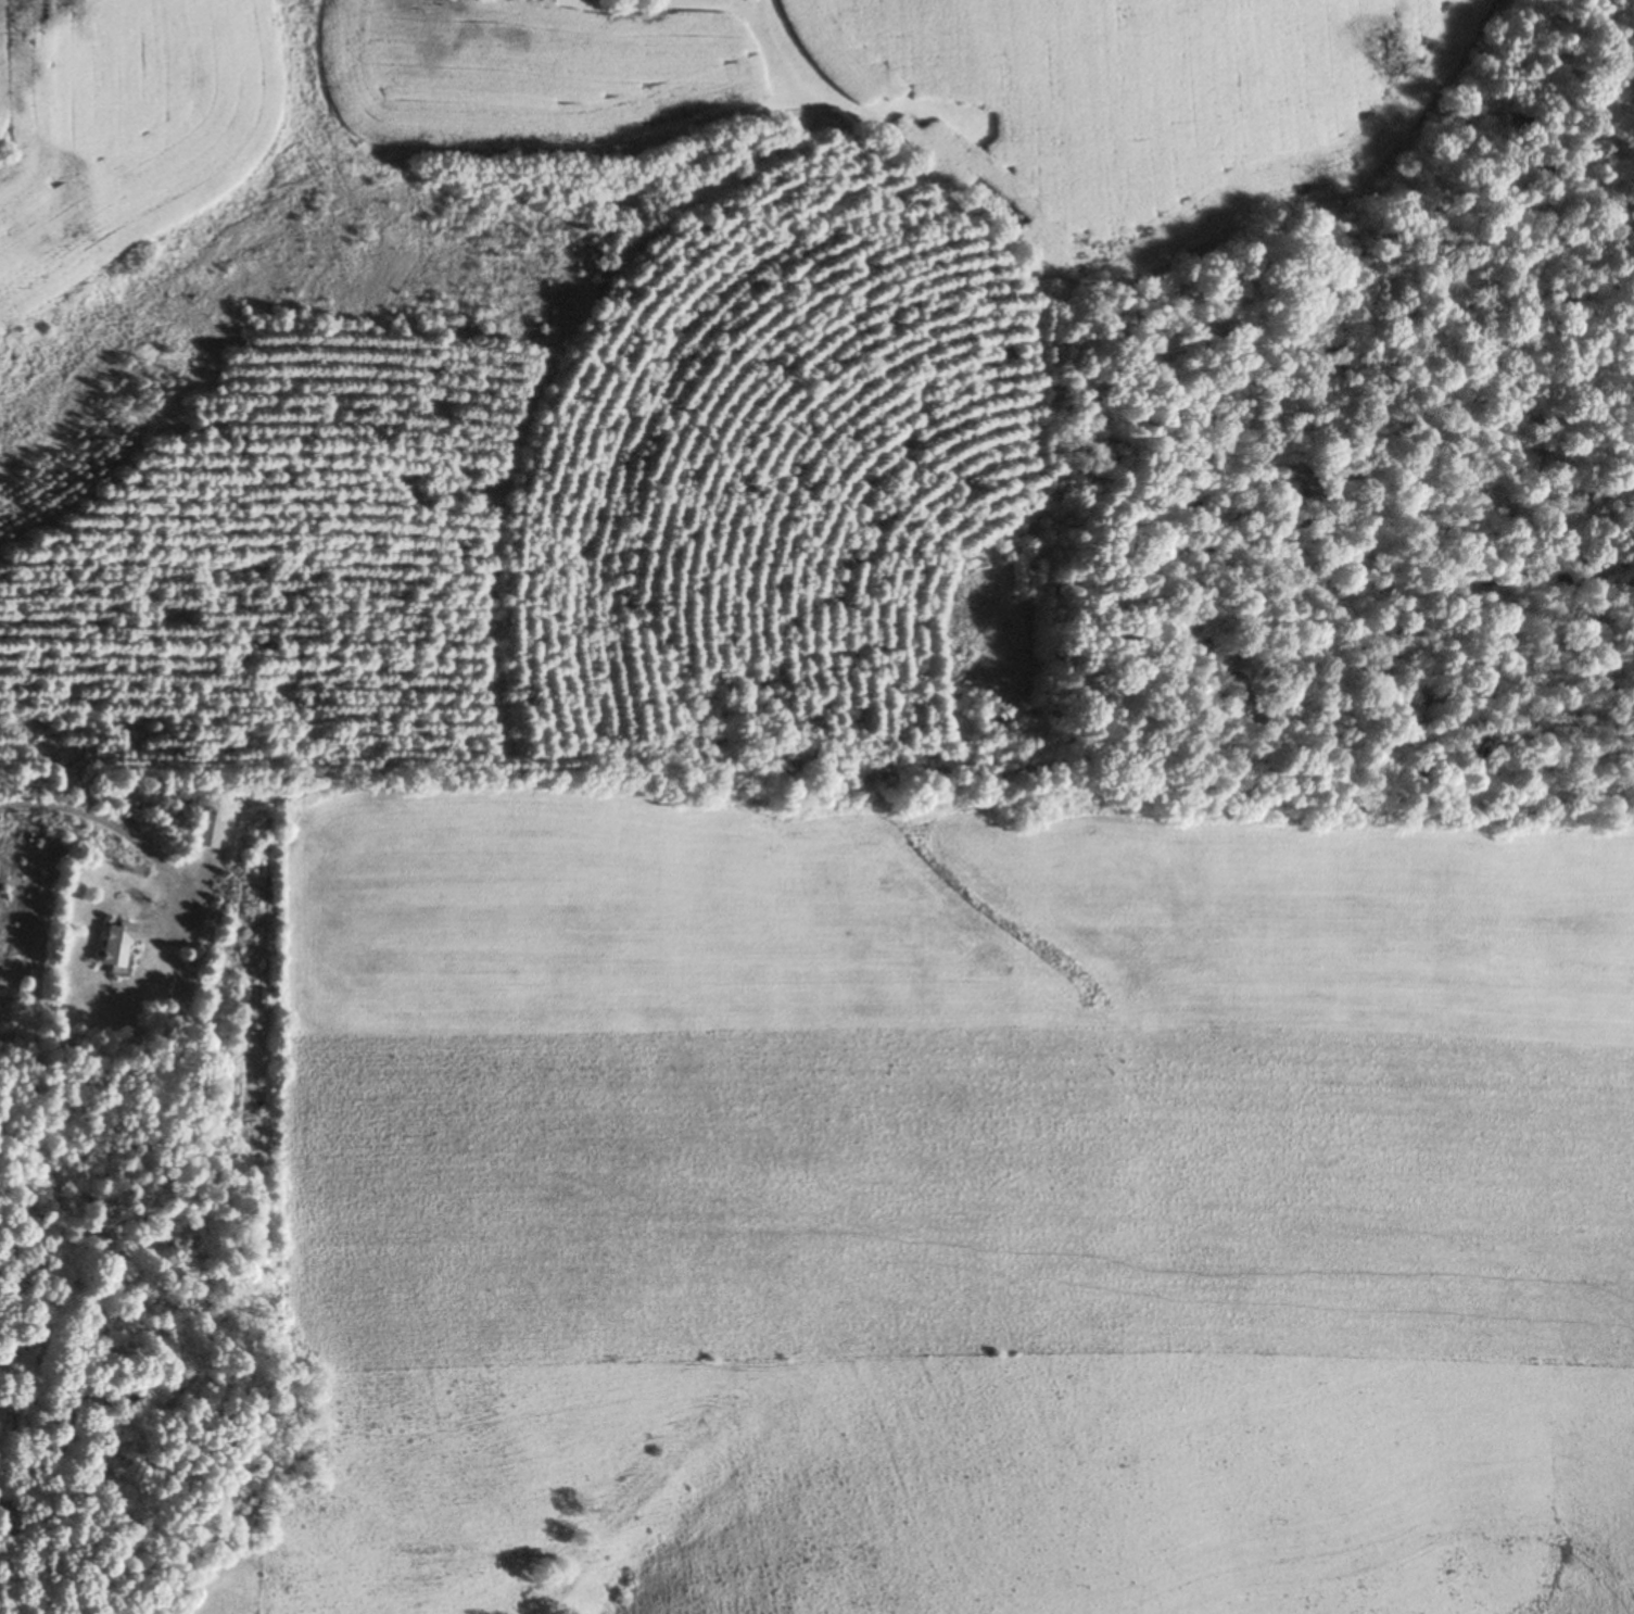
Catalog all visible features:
building: (202, 830)
building: (111, 945)

